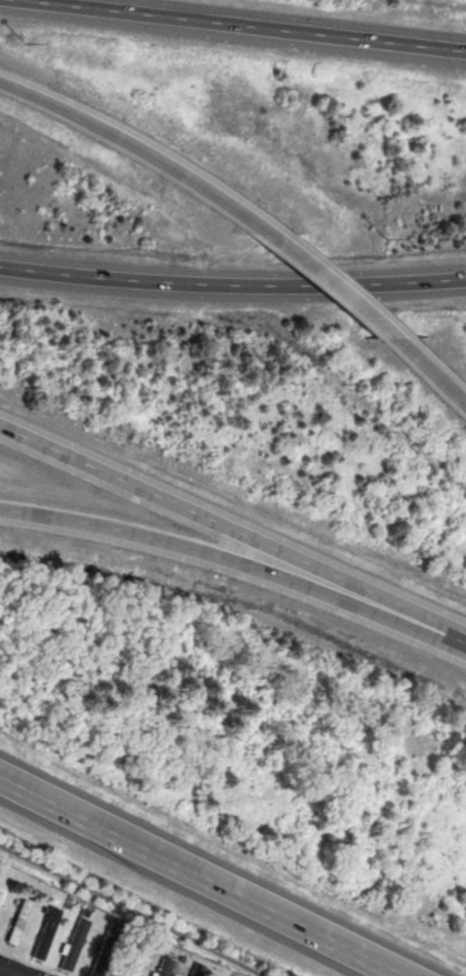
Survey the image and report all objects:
road: (248, 24)
road: (139, 147)
road: (332, 282)
road: (232, 283)
road: (429, 372)
road: (233, 528)
road: (236, 561)
road: (199, 875)
building: (0, 891)
road: (129, 911)
building: (17, 921)
building: (44, 932)
building: (130, 961)
building: (160, 967)
building: (195, 969)
road: (9, 972)

